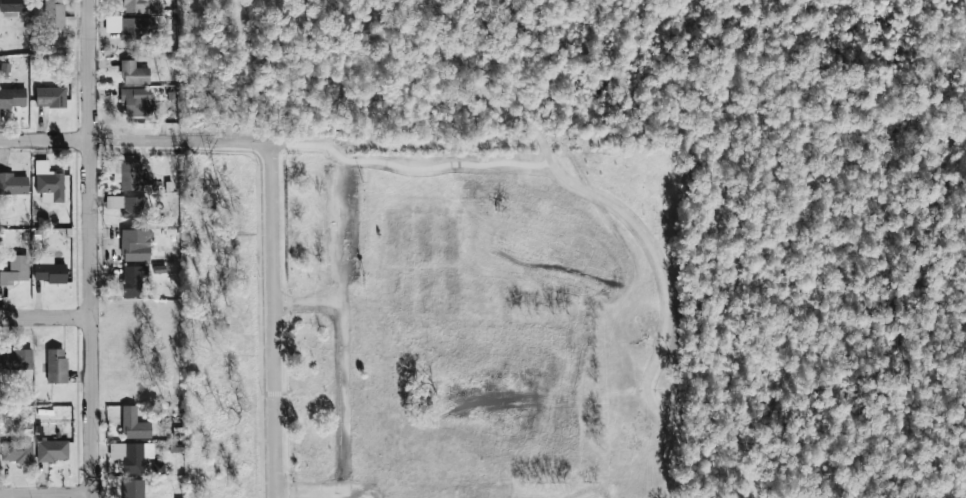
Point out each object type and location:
building: (15, 6)
building: (140, 6)
building: (57, 16)
building: (131, 27)
building: (134, 73)
building: (50, 97)
building: (12, 98)
building: (134, 104)
road: (135, 141)
road: (408, 173)
building: (132, 177)
building: (48, 183)
building: (13, 184)
road: (580, 189)
building: (128, 205)
building: (135, 245)
road: (90, 249)
building: (15, 270)
building: (49, 273)
building: (132, 280)
road: (311, 306)
road: (45, 317)
park: (480, 318)
road: (274, 320)
road: (348, 334)
building: (16, 359)
building: (56, 366)
building: (134, 425)
building: (52, 450)
building: (16, 451)
building: (131, 456)
building: (158, 468)
building: (133, 489)
road: (310, 490)
road: (46, 495)

